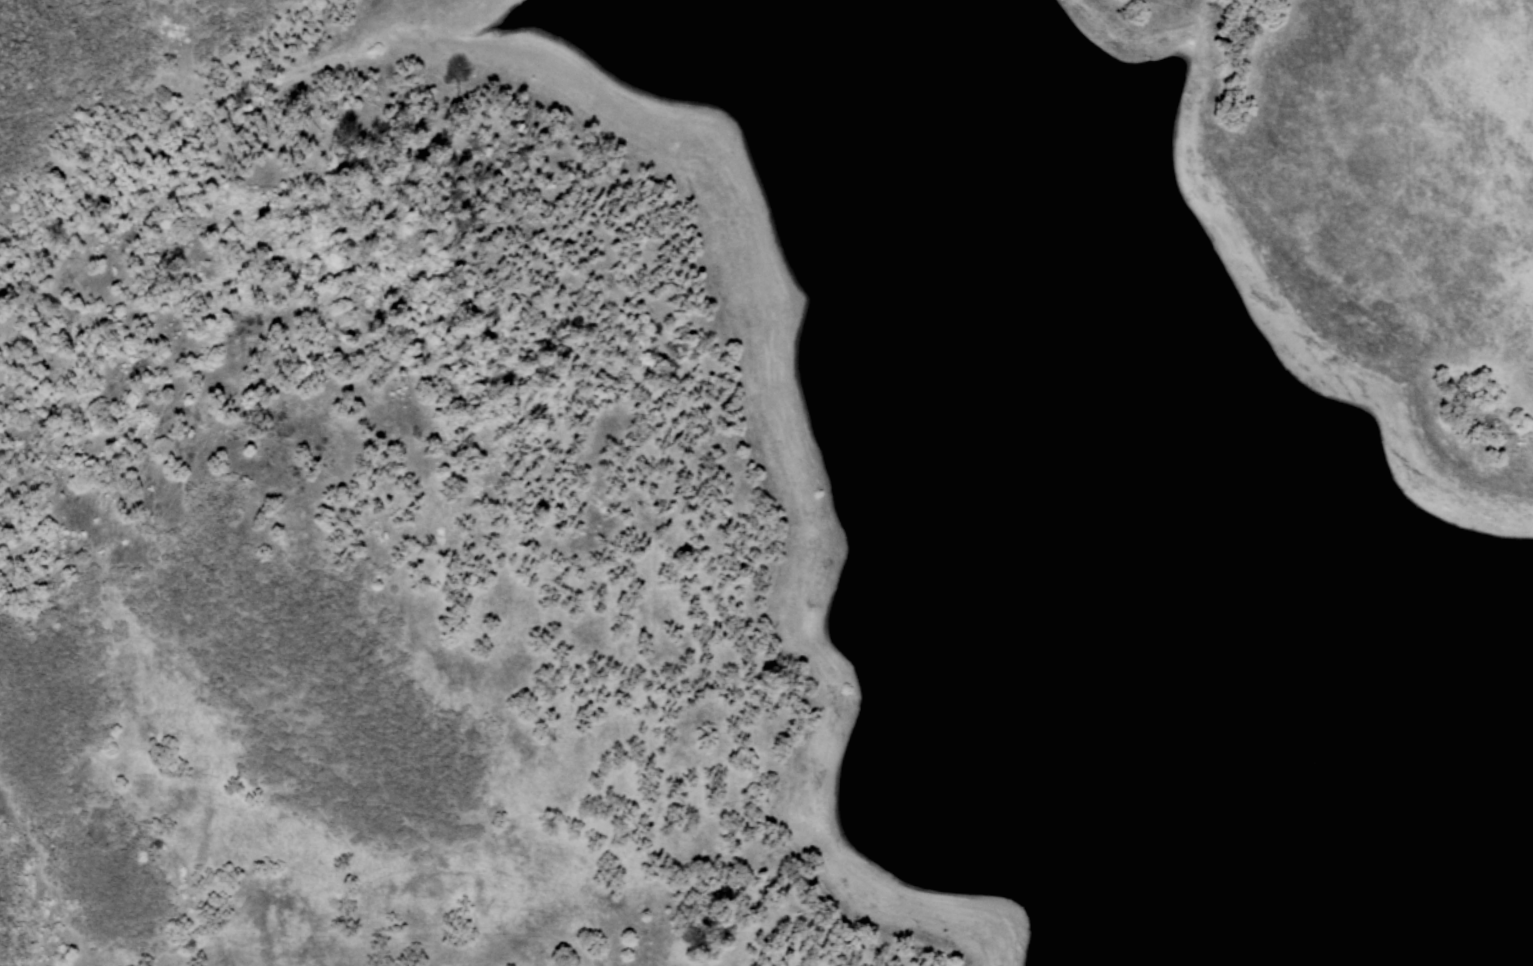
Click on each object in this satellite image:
river: (1505, 814)
river: (1394, 901)

